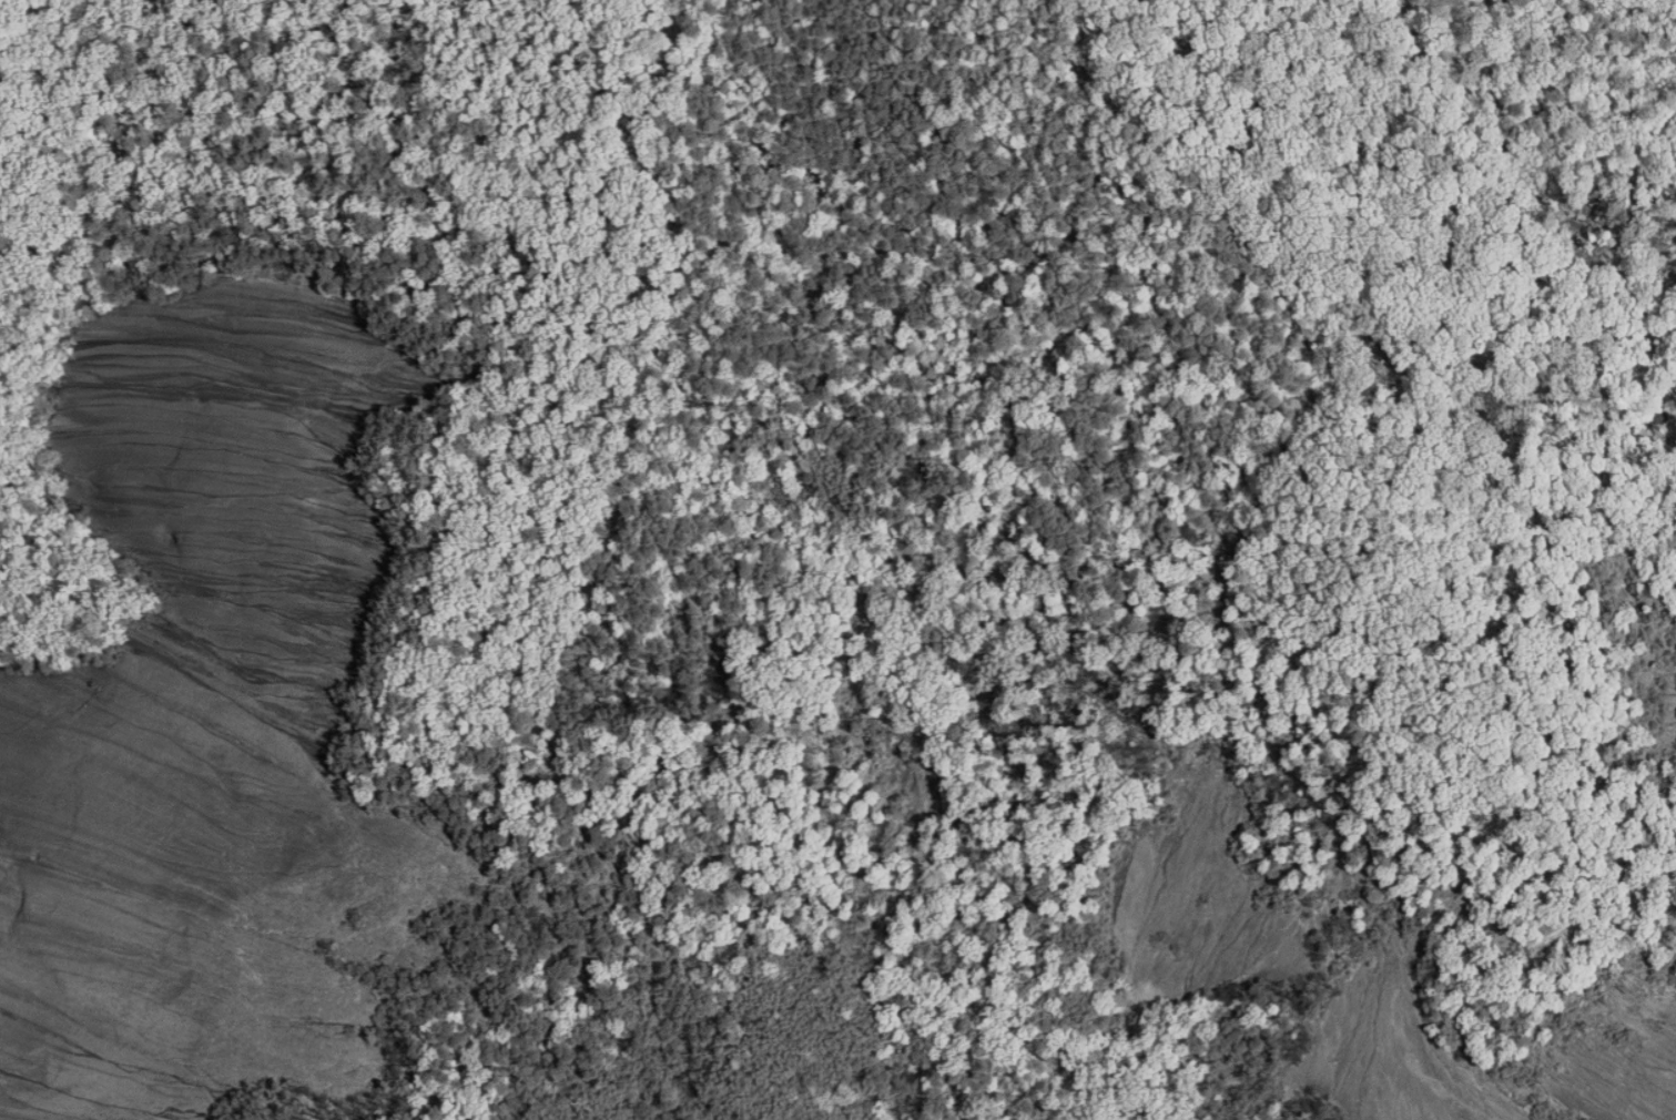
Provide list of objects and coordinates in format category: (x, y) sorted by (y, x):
road: (447, 77)
road: (609, 436)
road: (546, 906)
road: (914, 948)
road: (1490, 964)
building: (1074, 1116)

